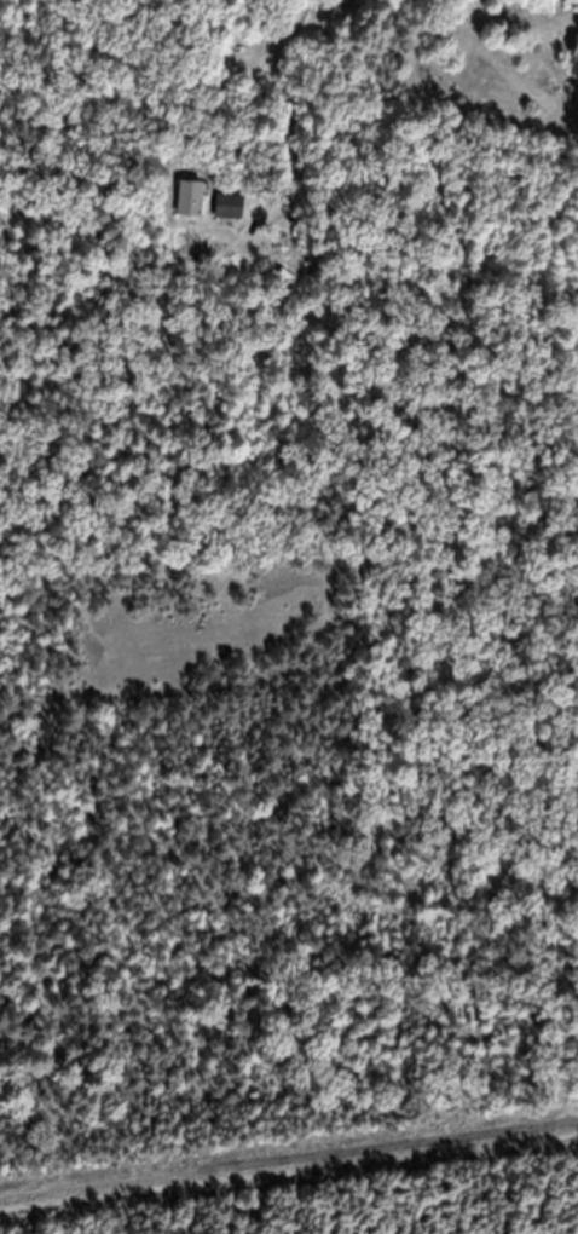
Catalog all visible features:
building: (463, 0)
building: (192, 212)
building: (231, 220)

